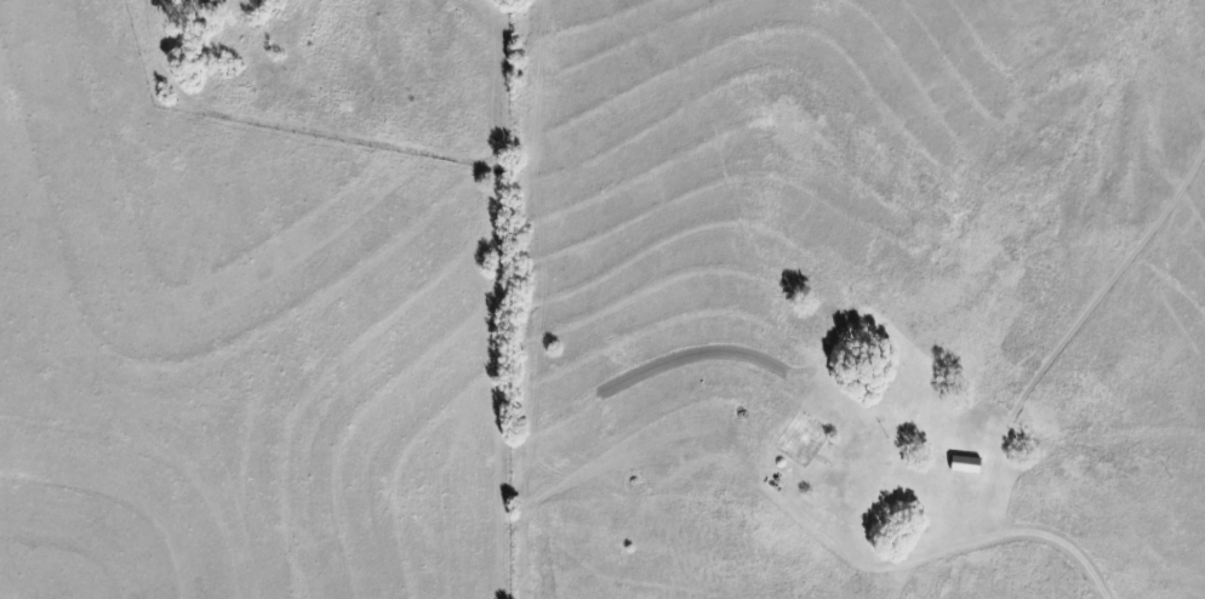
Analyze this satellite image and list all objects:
building: (965, 464)

